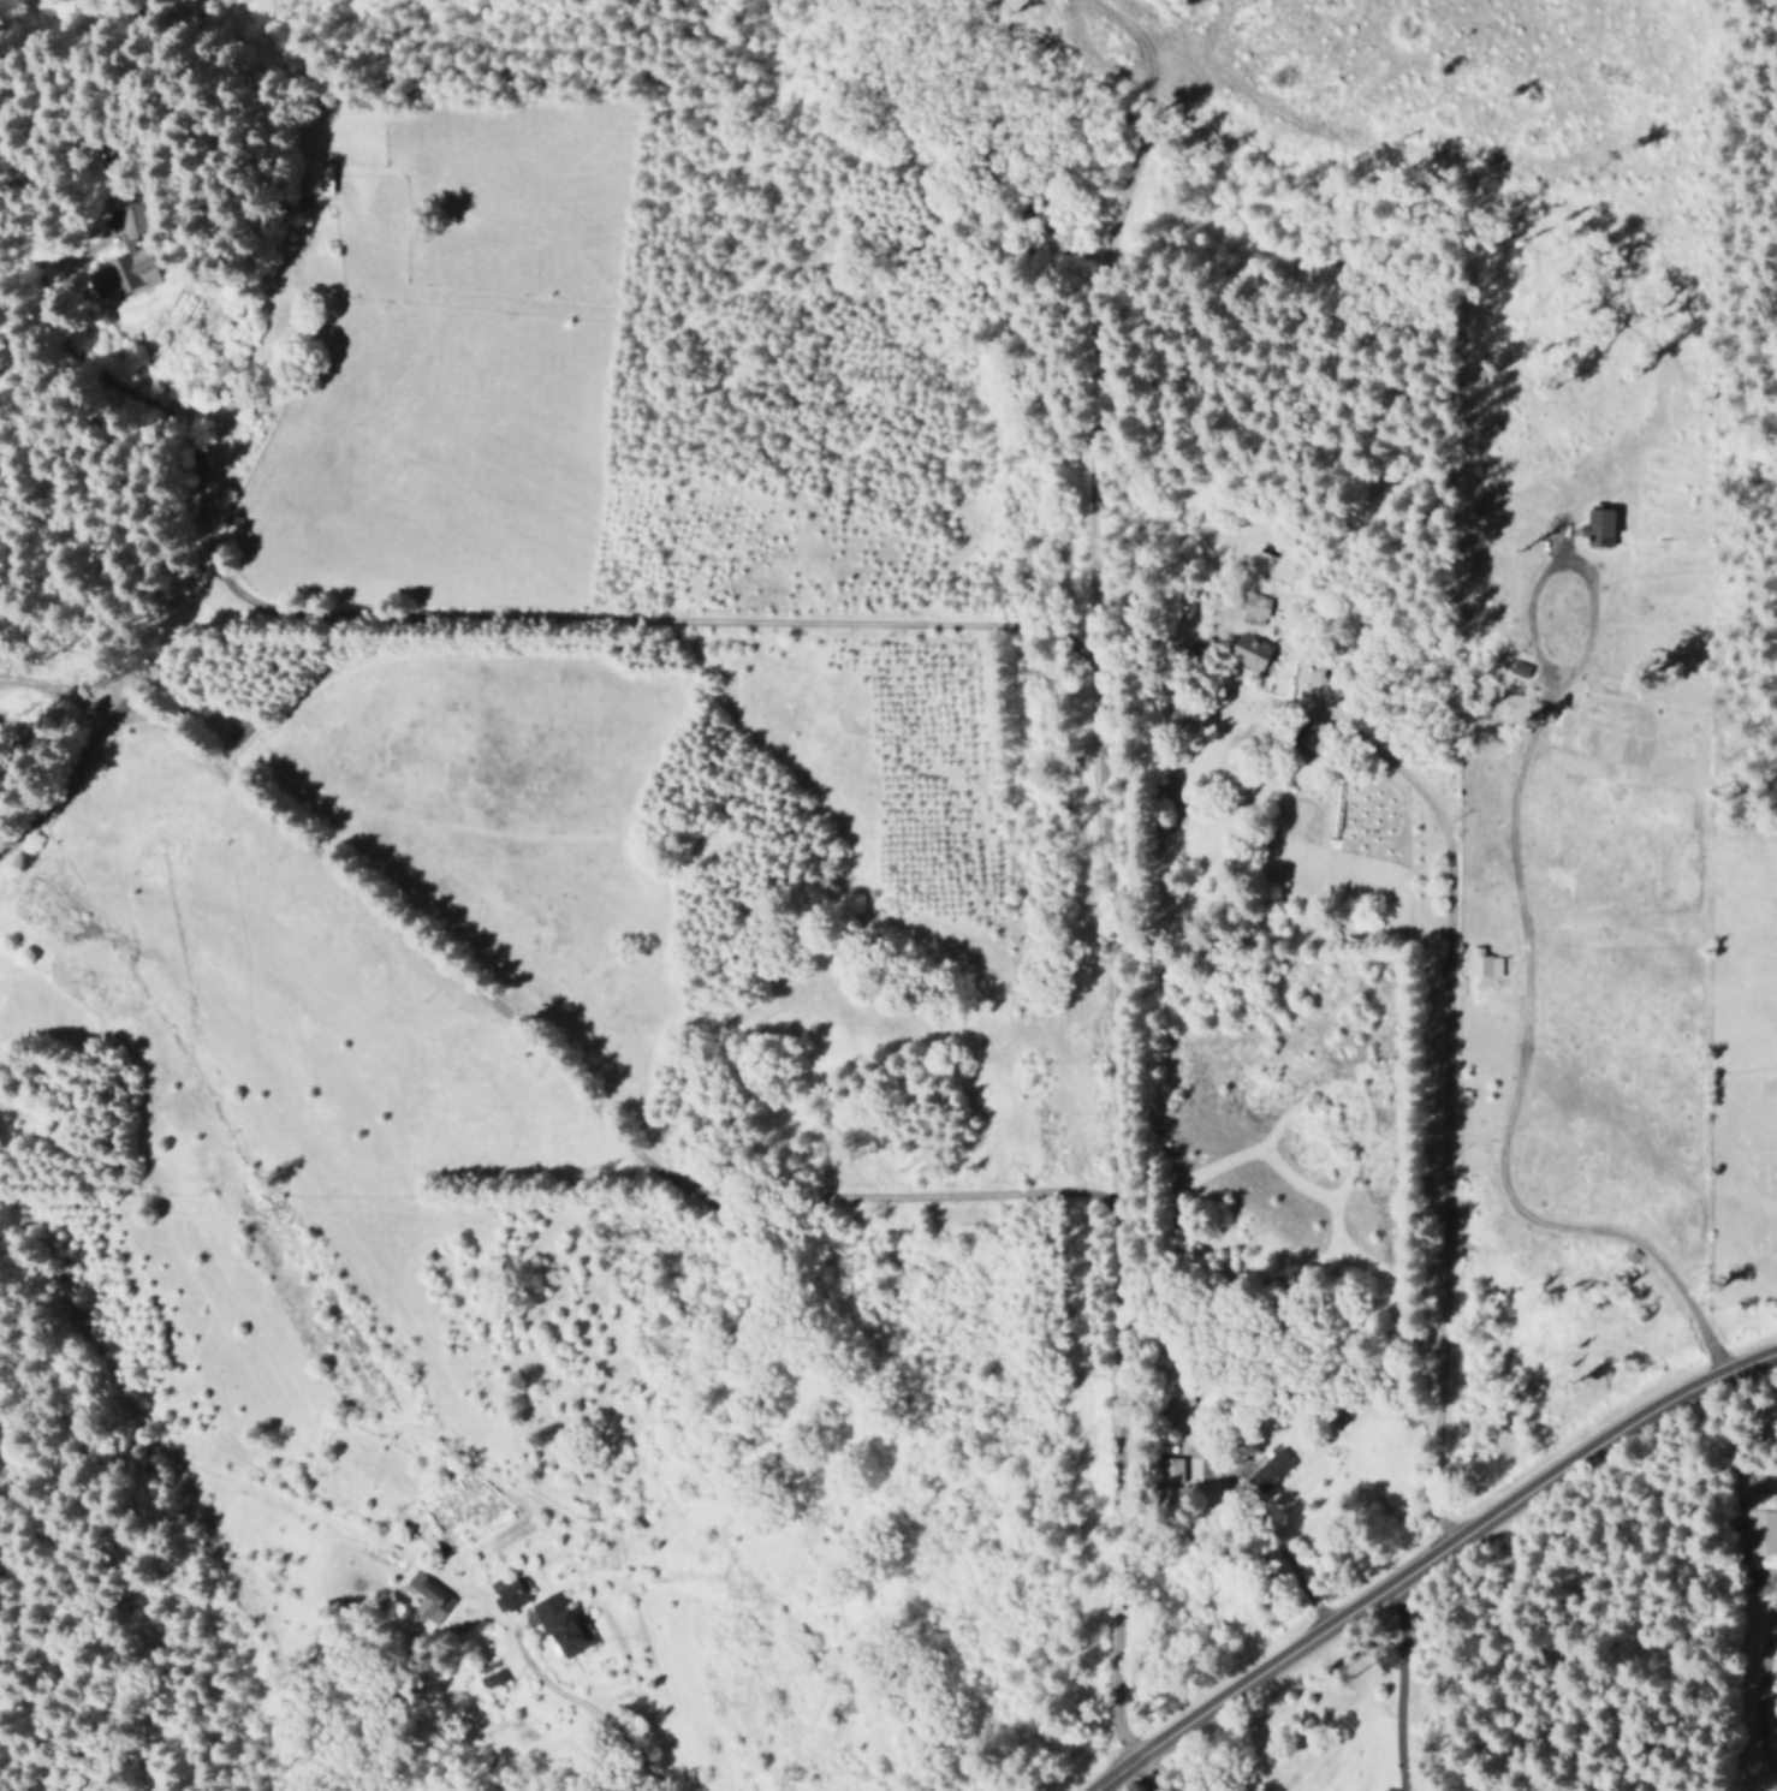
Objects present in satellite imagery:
building: (314, 177)
building: (125, 255)
building: (1597, 528)
building: (1254, 605)
building: (1249, 651)
building: (1317, 738)
road: (1107, 870)
building: (1481, 963)
road: (519, 1028)
road: (1444, 1137)
building: (1404, 1418)
building: (1175, 1469)
building: (1268, 1470)
building: (1761, 1529)
road: (1428, 1559)
building: (506, 1594)
building: (428, 1597)
building: (560, 1624)
road: (1650, 1659)
building: (493, 1678)
road: (1143, 1775)

